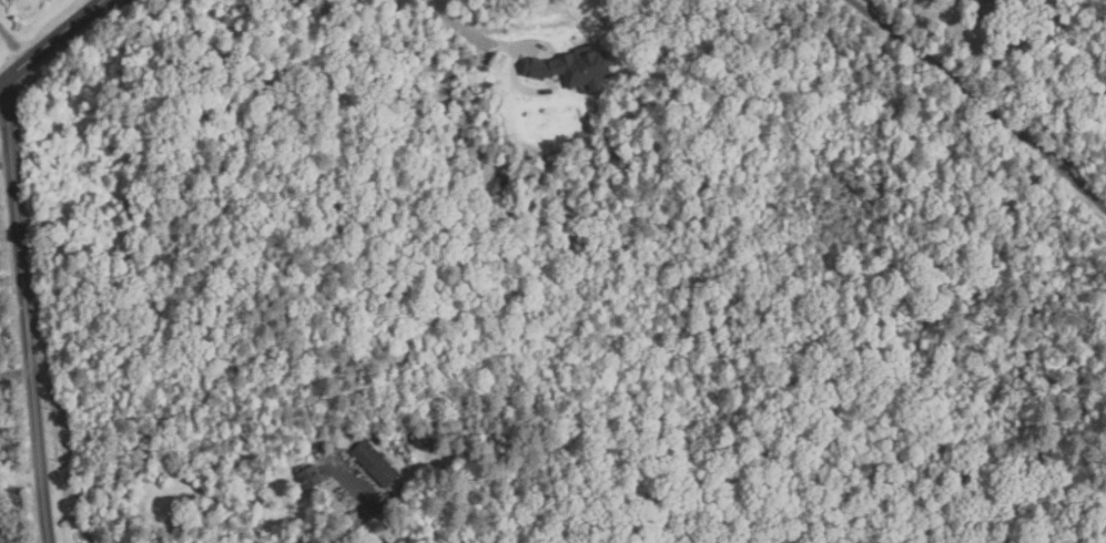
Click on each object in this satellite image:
road: (456, 37)
road: (52, 42)
road: (13, 45)
building: (576, 69)
building: (496, 185)
road: (28, 313)
building: (423, 437)
building: (339, 439)
building: (435, 444)
building: (460, 454)
building: (377, 464)
building: (312, 477)

